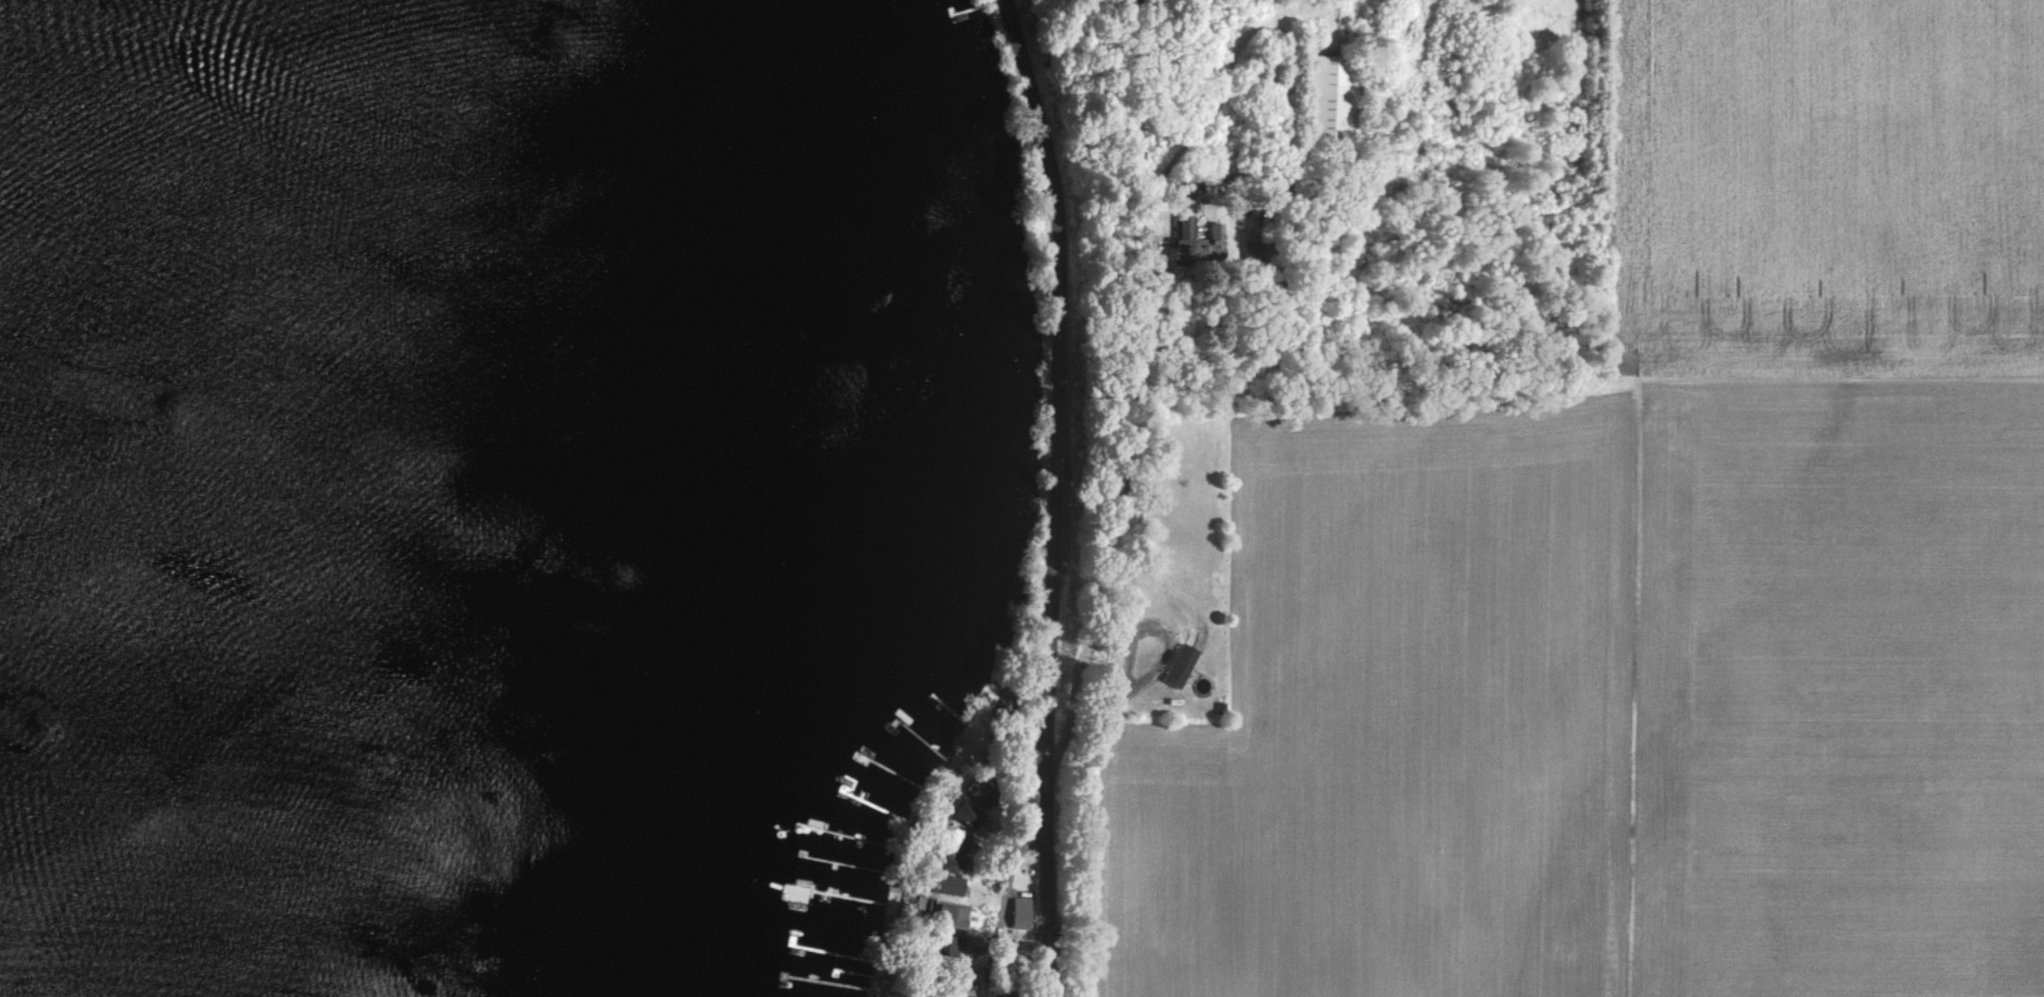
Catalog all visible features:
building: (1335, 99)
building: (1289, 184)
park: (1292, 217)
building: (1197, 240)
building: (1255, 258)
road: (1154, 279)
road: (1058, 495)
road: (1083, 662)
building: (1180, 665)
building: (980, 792)
building: (952, 864)
building: (949, 885)
road: (1001, 907)
building: (1022, 913)
building: (950, 914)
building: (949, 947)

